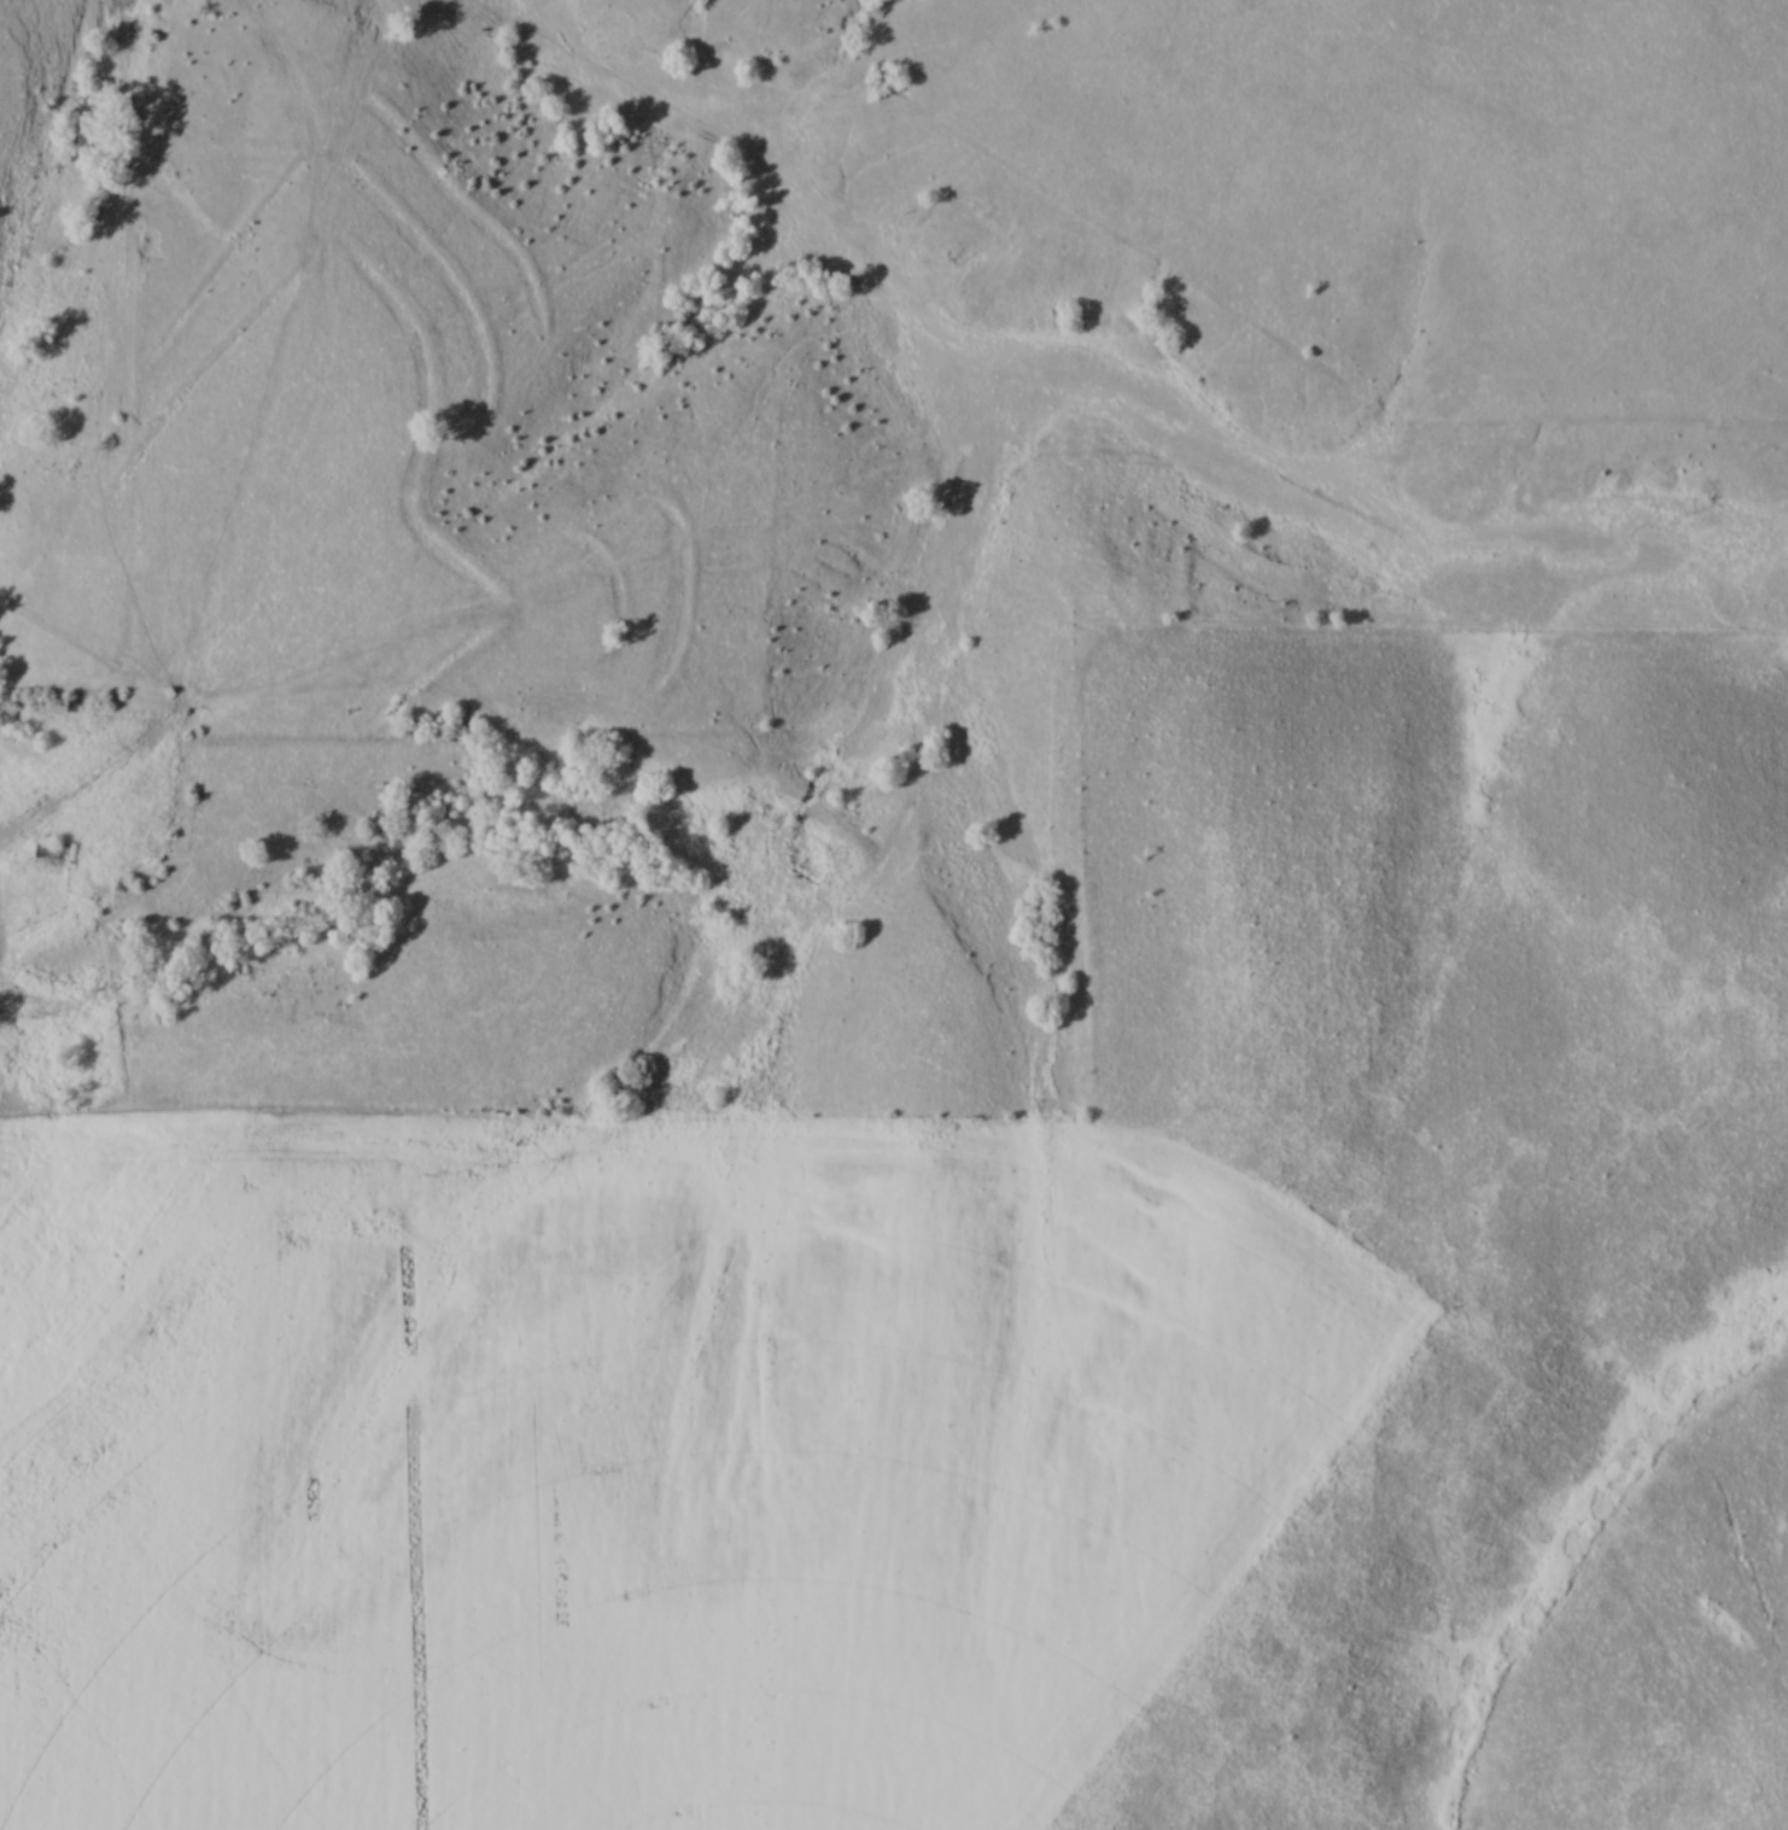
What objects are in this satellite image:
building: (51, 853)

